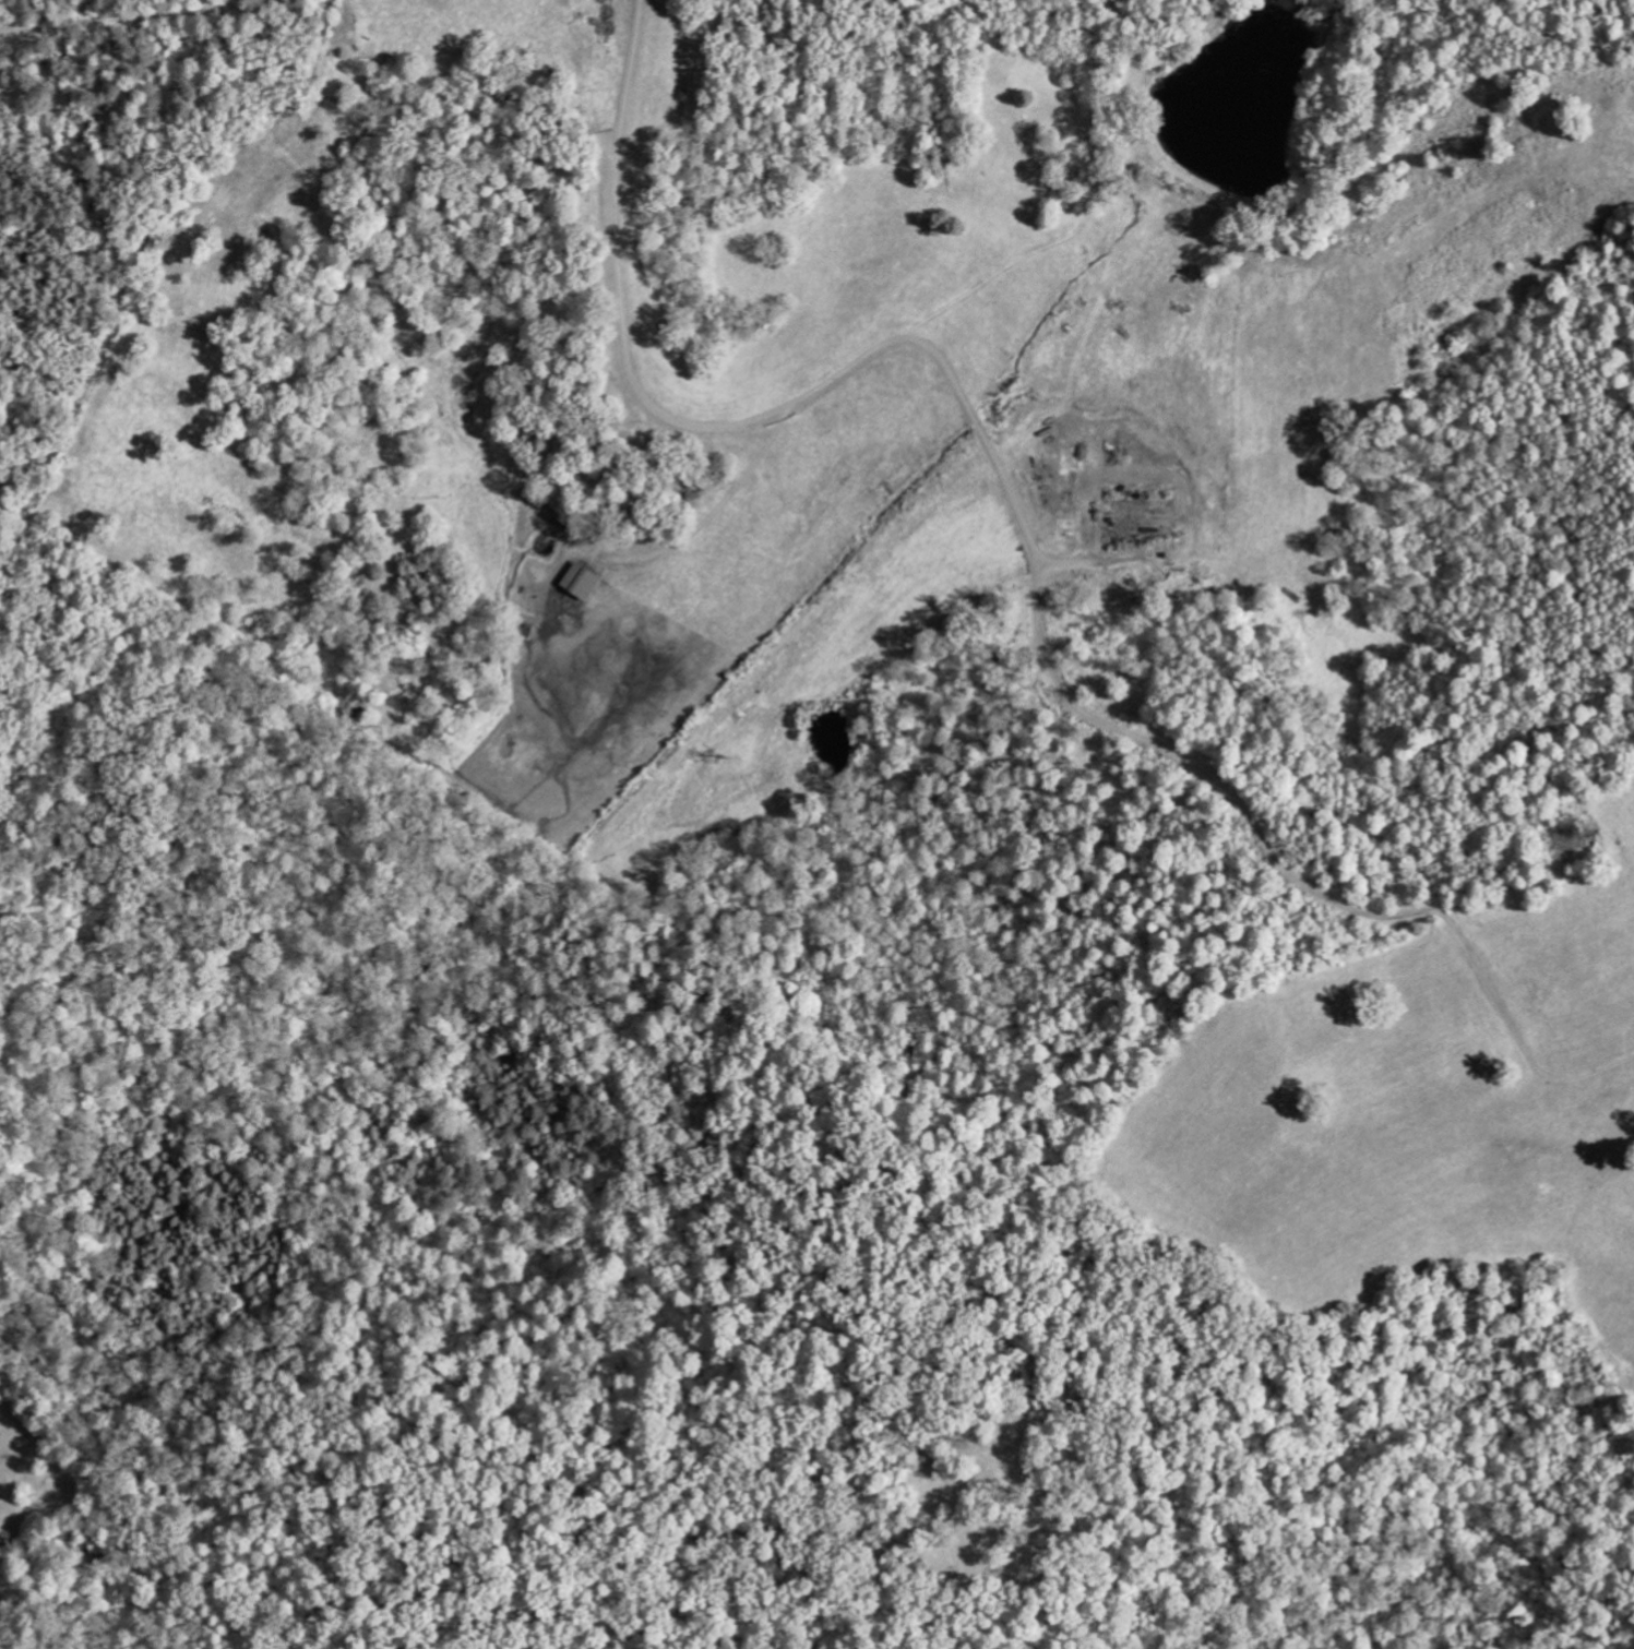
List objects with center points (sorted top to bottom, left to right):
road: (62, 142)
building: (576, 583)

